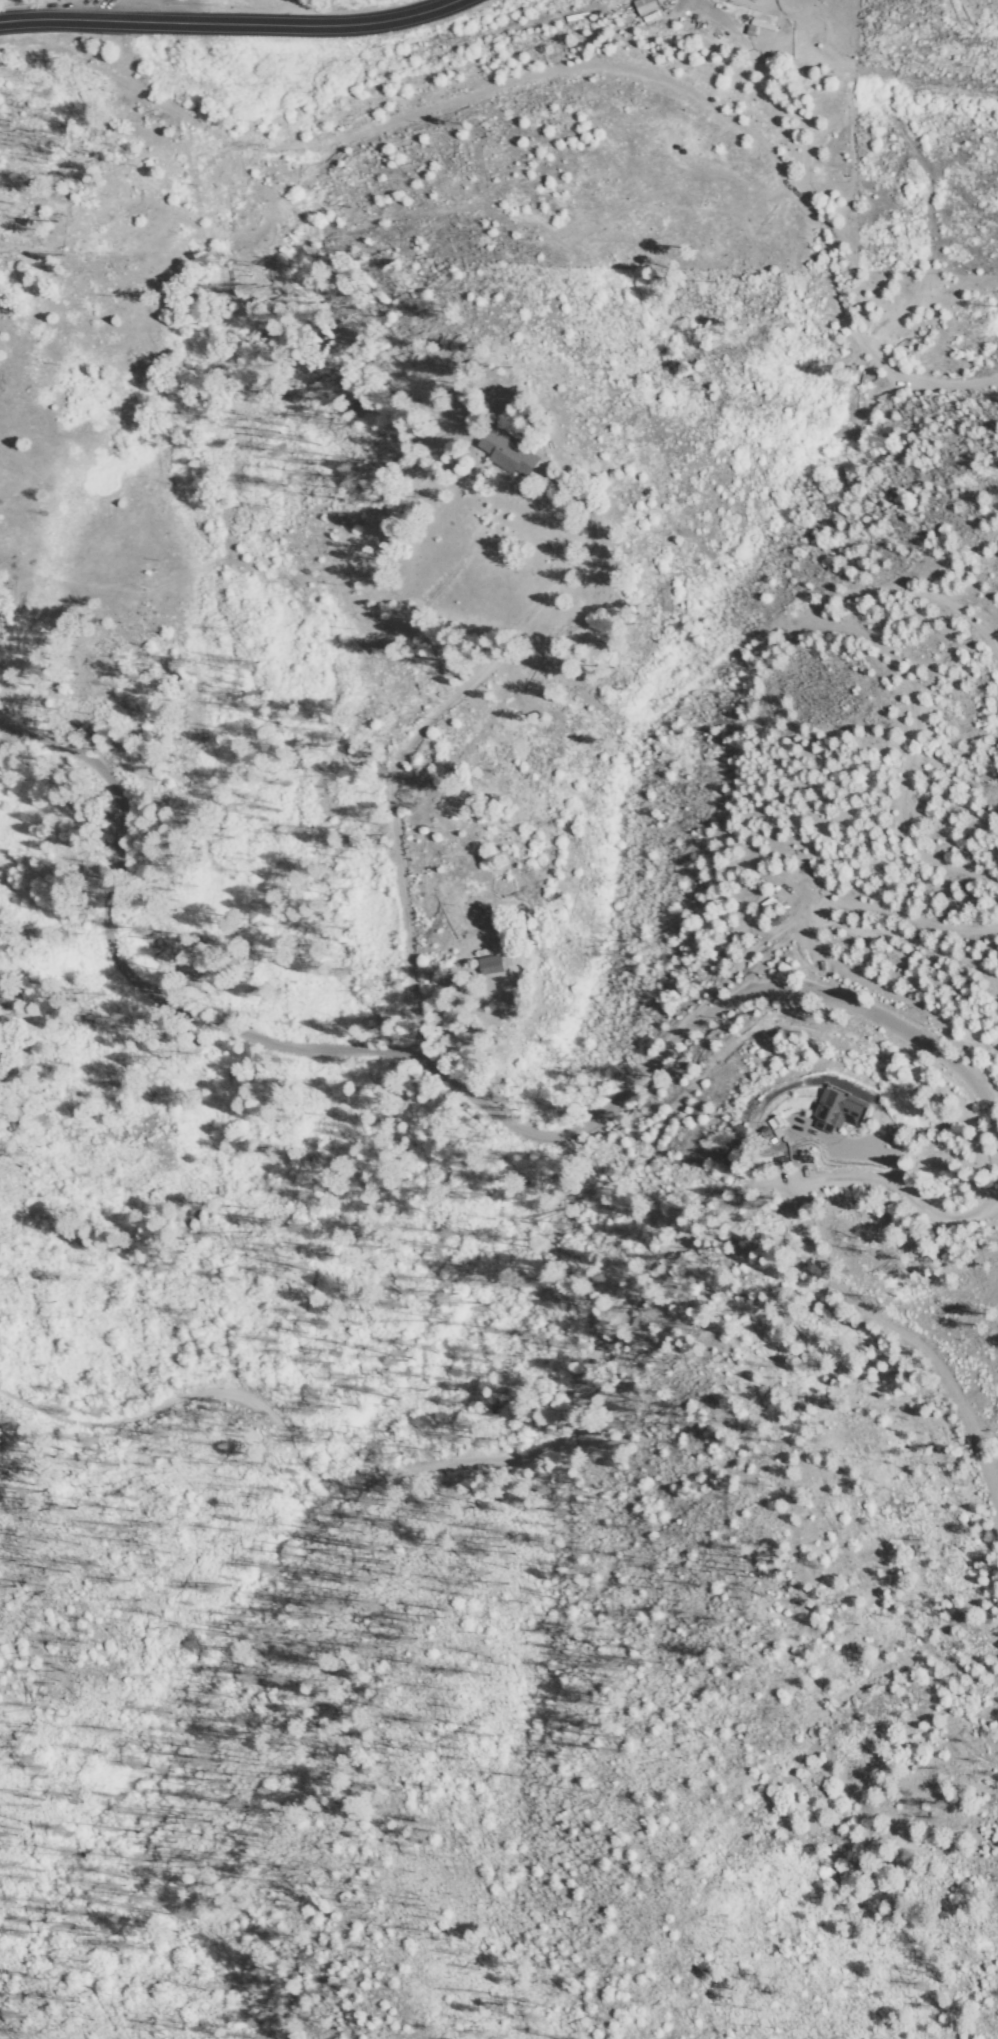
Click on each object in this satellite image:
building: (646, 6)
building: (575, 17)
road: (240, 30)
building: (771, 30)
road: (816, 242)
building: (512, 451)
road: (867, 651)
road: (409, 753)
building: (776, 922)
road: (810, 958)
building: (493, 966)
road: (103, 981)
building: (526, 995)
road: (690, 1028)
building: (833, 1119)
building: (779, 1122)
building: (768, 1134)
building: (739, 1137)
building: (721, 1153)
building: (780, 1162)
road: (892, 1324)
road: (568, 1418)

